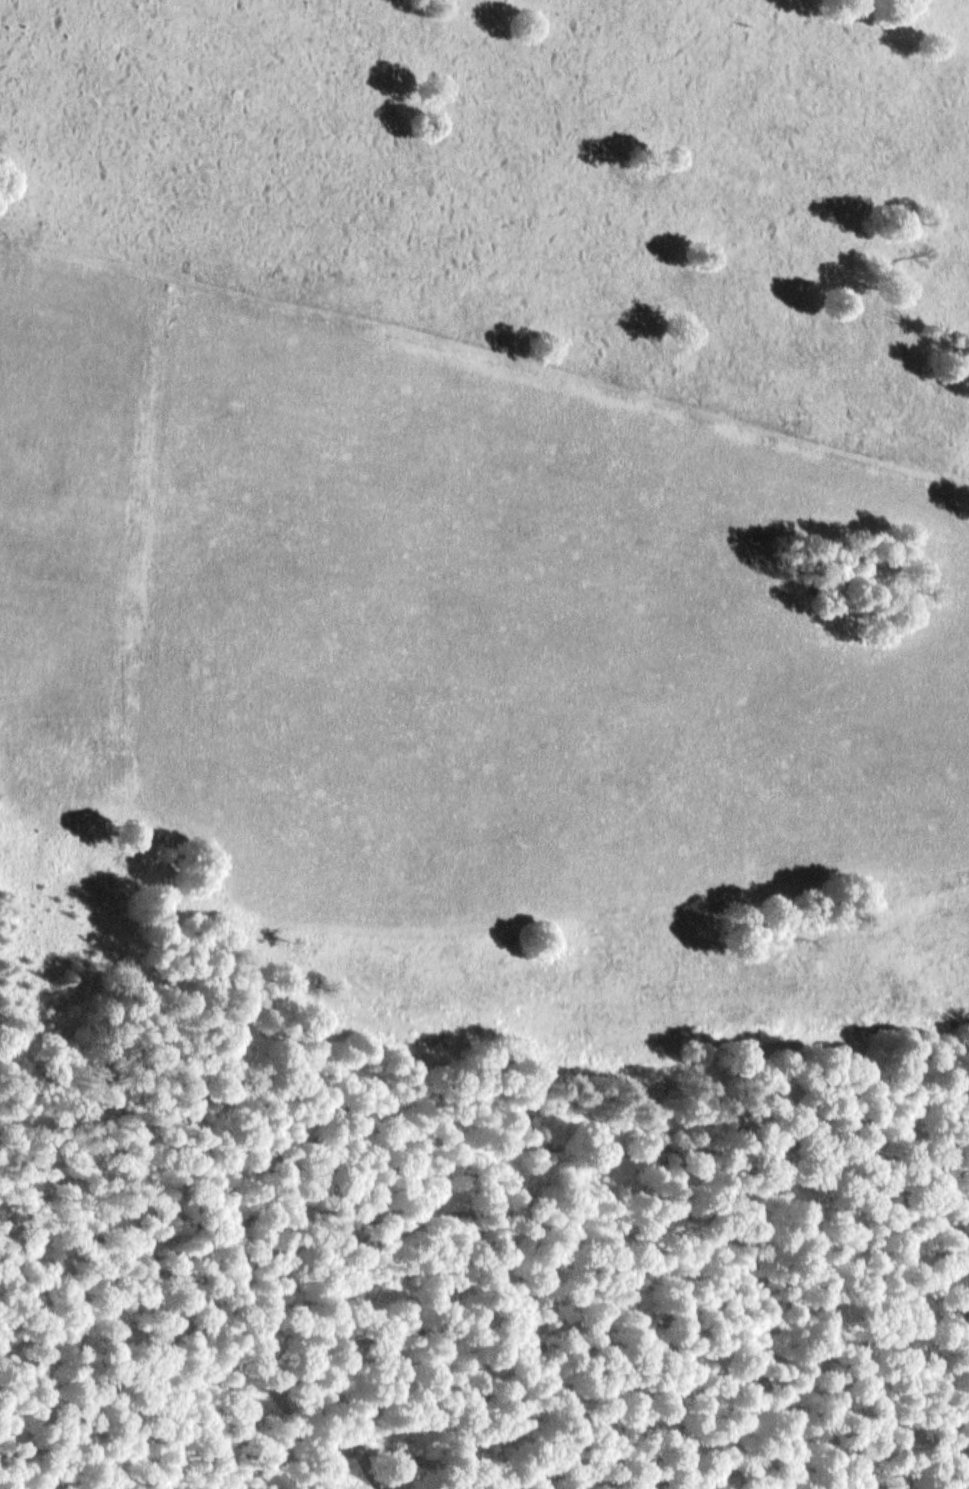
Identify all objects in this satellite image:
road: (489, 357)

